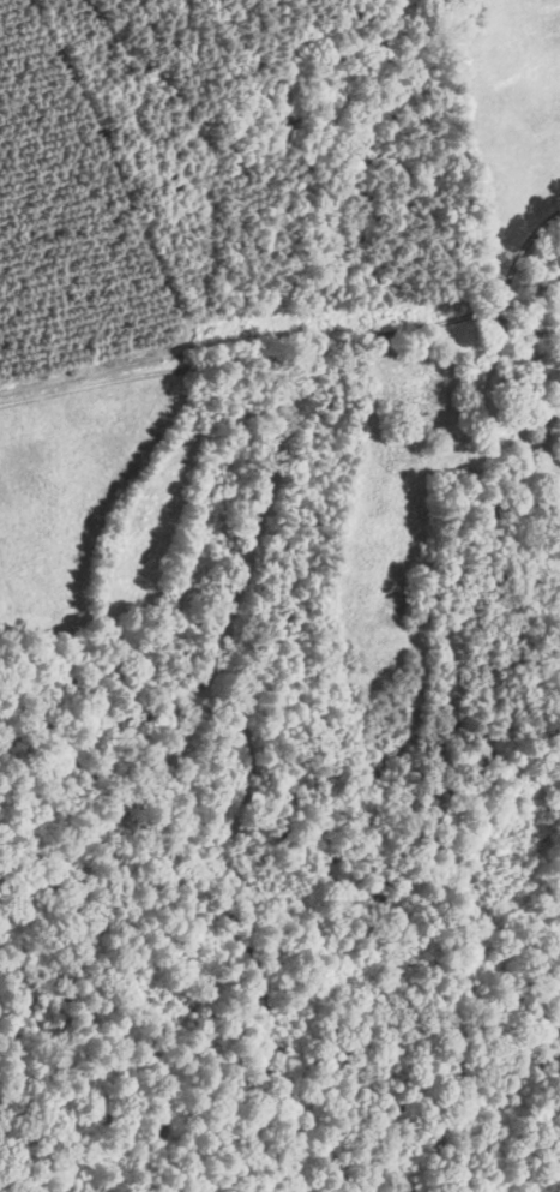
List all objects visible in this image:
road: (305, 372)

